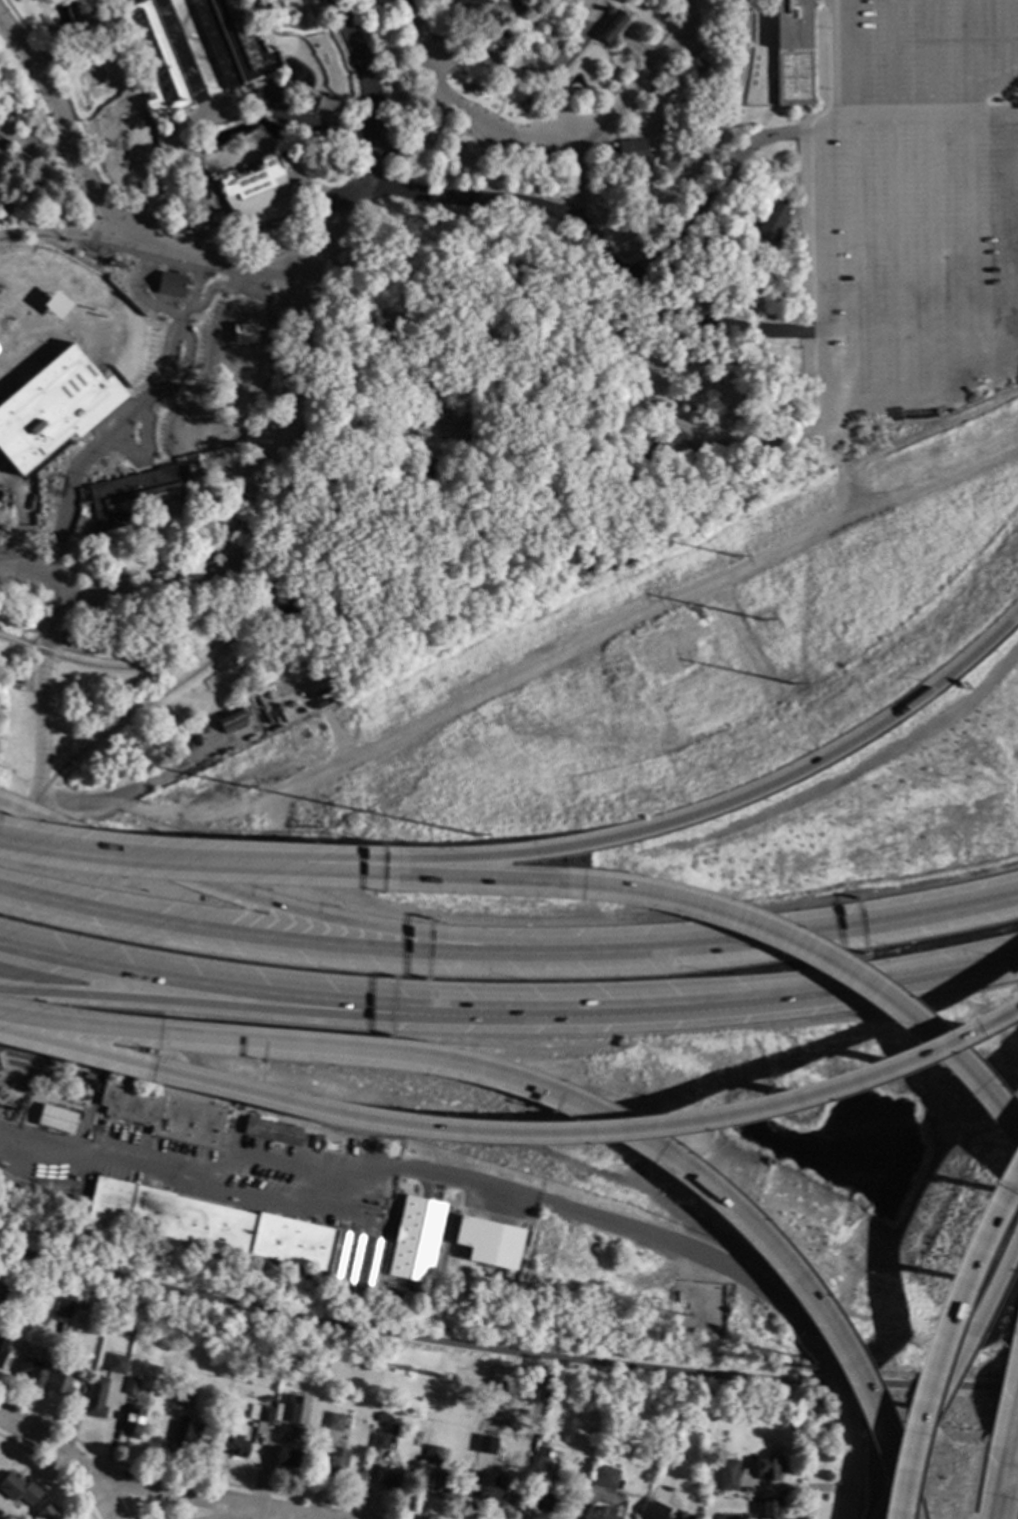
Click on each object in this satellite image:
building: (261, 2)
road: (583, 4)
road: (318, 10)
road: (459, 10)
building: (610, 28)
road: (172, 36)
building: (52, 37)
building: (232, 42)
road: (1006, 42)
road: (218, 52)
building: (793, 52)
parking lot: (919, 53)
building: (158, 56)
road: (201, 58)
road: (181, 59)
building: (694, 65)
road: (524, 73)
road: (503, 103)
road: (559, 104)
road: (936, 110)
road: (992, 113)
road: (221, 114)
road: (415, 137)
building: (425, 140)
road: (545, 142)
building: (336, 143)
building: (112, 146)
building: (451, 149)
building: (2, 150)
road: (35, 150)
building: (631, 154)
building: (536, 156)
building: (381, 160)
building: (454, 168)
road: (577, 180)
road: (717, 191)
building: (255, 195)
road: (317, 196)
road: (969, 200)
road: (893, 208)
road: (932, 208)
road: (48, 221)
building: (773, 221)
road: (60, 235)
road: (212, 237)
road: (189, 241)
road: (1009, 248)
road: (599, 250)
parking lot: (915, 263)
road: (858, 264)
road: (233, 271)
building: (171, 284)
road: (212, 286)
road: (151, 291)
road: (191, 294)
road: (822, 303)
building: (56, 306)
building: (243, 335)
road: (186, 351)
railway: (391, 366)
road: (150, 398)
building: (52, 409)
road: (124, 421)
road: (689, 431)
building: (295, 435)
building: (666, 443)
road: (838, 467)
road: (656, 468)
road: (223, 470)
building: (134, 494)
building: (578, 495)
road: (61, 529)
road: (250, 538)
power tower: (733, 555)
power tower: (763, 620)
building: (74, 641)
building: (54, 651)
road: (573, 655)
power tower: (791, 684)
road: (39, 695)
railway: (143, 707)
building: (230, 720)
building: (202, 729)
road: (150, 786)
power tower: (242, 788)
power tower: (360, 811)
road: (648, 828)
power tower: (473, 834)
road: (107, 859)
road: (586, 888)
road: (247, 898)
road: (251, 936)
road: (764, 938)
road: (192, 983)
road: (193, 1001)
road: (704, 1001)
road: (348, 1050)
building: (87, 1077)
building: (100, 1081)
road: (974, 1083)
building: (164, 1115)
building: (56, 1119)
building: (272, 1132)
road: (514, 1135)
building: (328, 1148)
road: (370, 1173)
railway: (43, 1190)
railway: (42, 1198)
railway: (204, 1223)
building: (209, 1224)
road: (753, 1230)
building: (415, 1240)
railway: (201, 1241)
building: (488, 1243)
building: (354, 1261)
road: (997, 1285)
building: (678, 1299)
building: (0, 1300)
road: (776, 1303)
building: (64, 1306)
building: (1, 1324)
road: (939, 1334)
building: (3, 1347)
building: (123, 1347)
road: (504, 1349)
building: (70, 1350)
building: (294, 1357)
building: (117, 1365)
building: (33, 1371)
road: (953, 1371)
building: (97, 1372)
building: (61, 1381)
road: (831, 1386)
building: (130, 1387)
building: (184, 1398)
building: (265, 1398)
building: (94, 1404)
road: (872, 1406)
building: (289, 1409)
building: (260, 1414)
building: (382, 1416)
building: (133, 1422)
building: (333, 1422)
road: (1012, 1424)
building: (185, 1434)
building: (379, 1440)
building: (235, 1446)
building: (480, 1450)
building: (542, 1450)
building: (621, 1454)
building: (286, 1457)
building: (431, 1457)
building: (335, 1463)
building: (539, 1465)
road: (903, 1467)
building: (768, 1470)
building: (727, 1476)
road: (849, 1477)
building: (389, 1478)
building: (604, 1478)
road: (1001, 1484)
building: (439, 1486)
road: (142, 1487)
building: (18, 1489)
building: (489, 1491)
road: (112, 1499)
building: (544, 1502)
building: (654, 1502)
building: (769, 1509)
building: (49, 1513)
building: (652, 1513)
building: (600, 1514)
road: (906, 1514)
road: (246, 1515)
building: (727, 1517)

